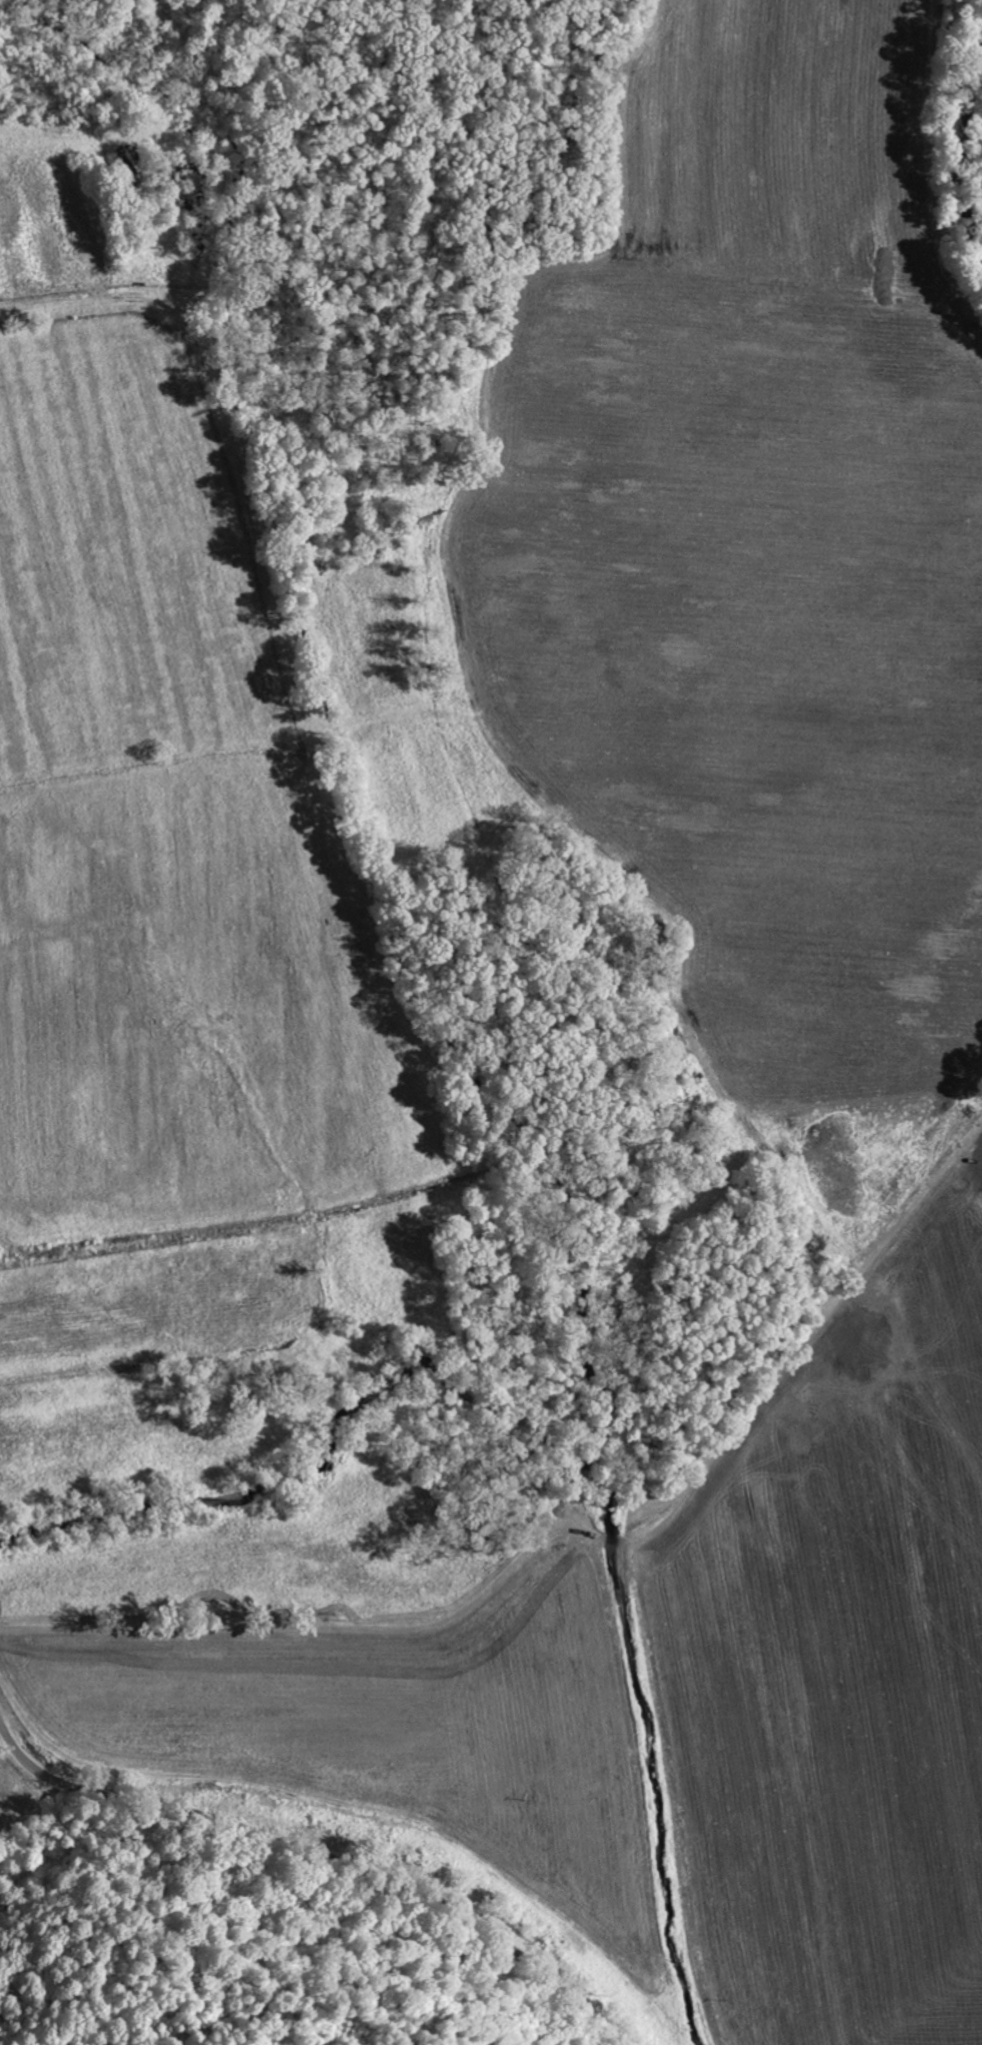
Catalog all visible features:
road: (577, 1564)
road: (324, 1856)

